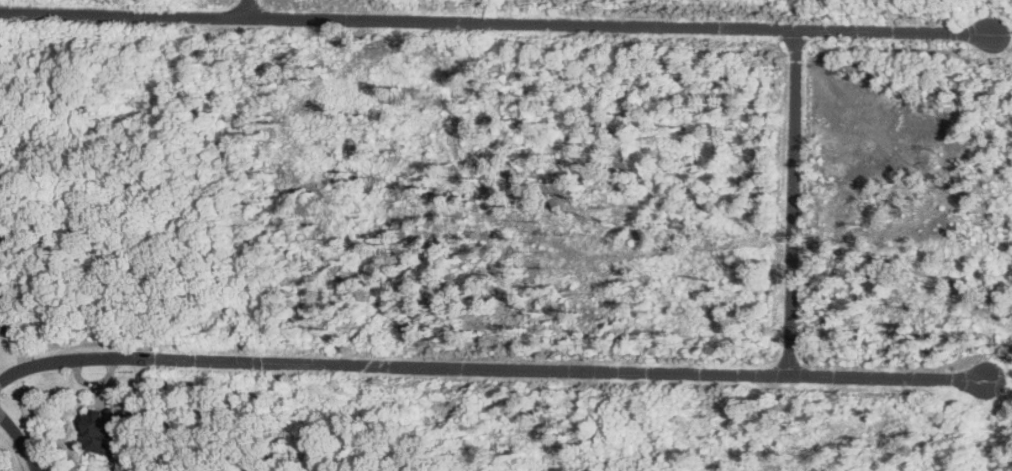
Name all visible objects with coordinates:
road: (251, 9)
road: (497, 25)
road: (790, 204)
building: (5, 283)
road: (488, 368)
building: (105, 429)
road: (19, 440)

